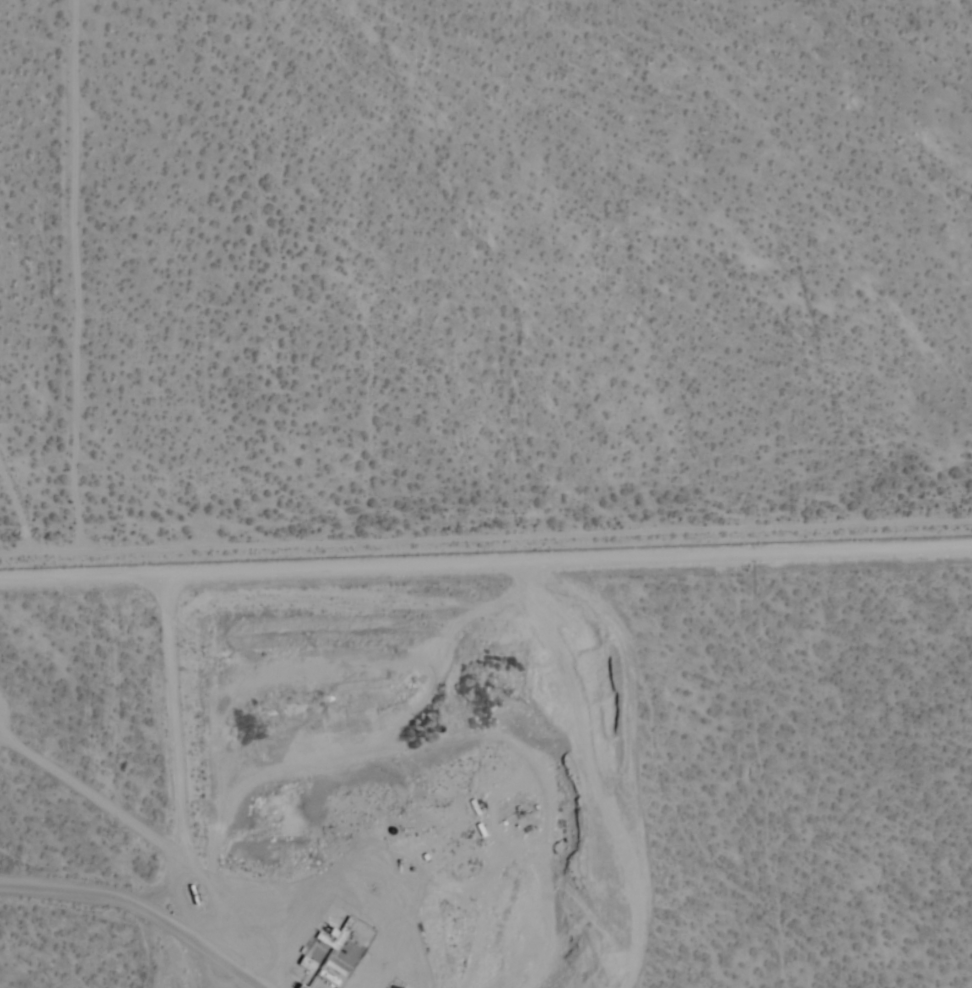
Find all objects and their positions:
road: (80, 275)
road: (485, 537)
airport: (492, 771)
road: (137, 908)

